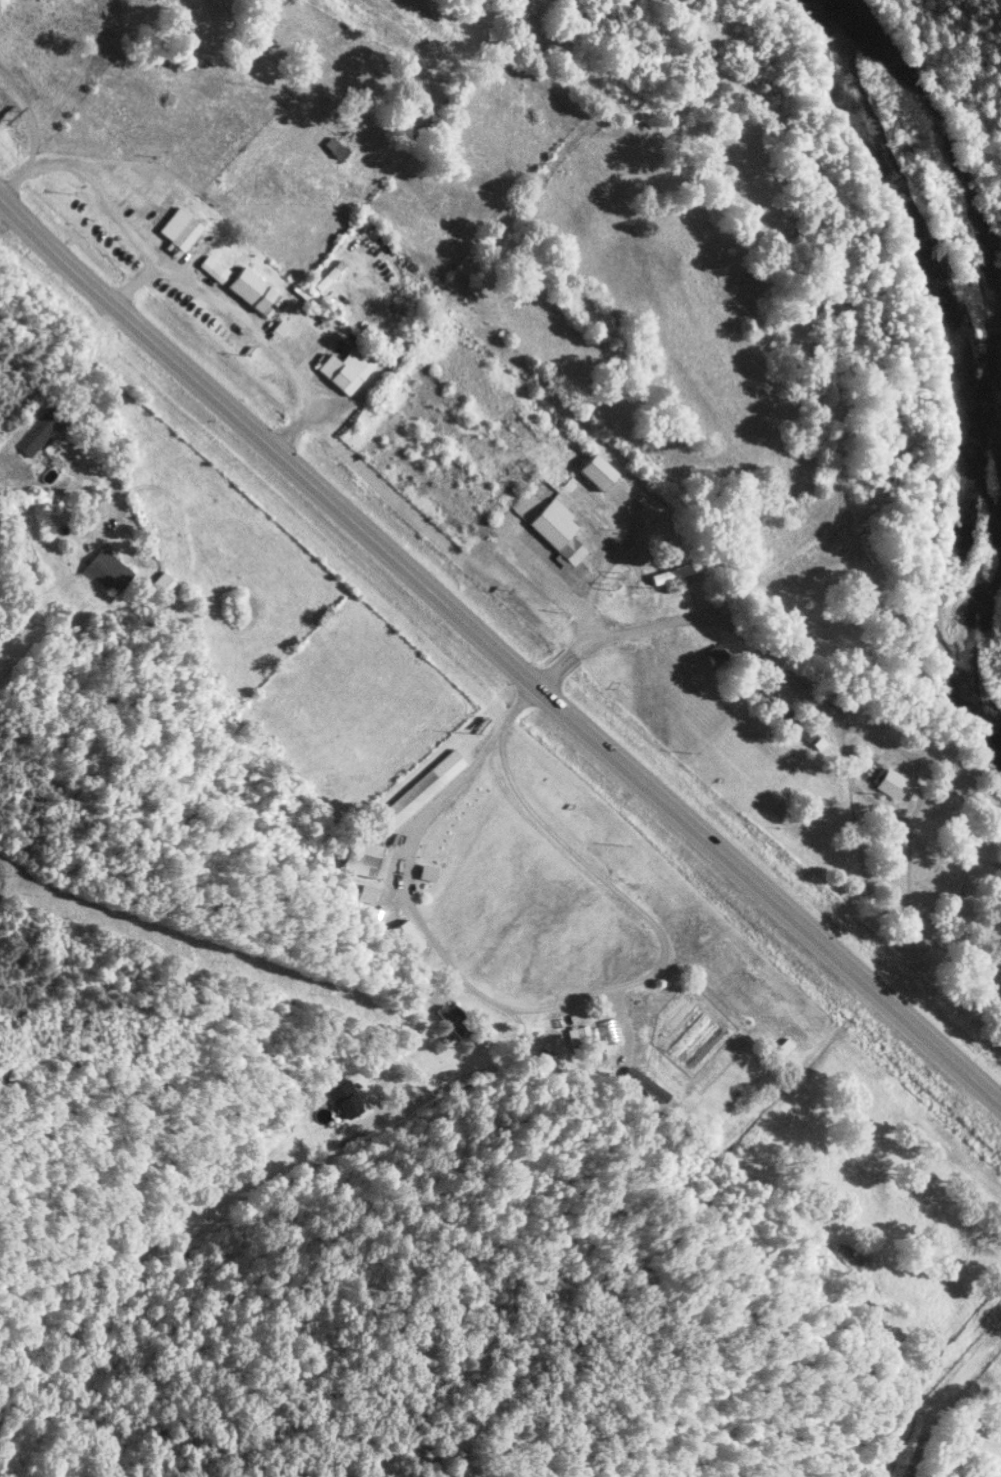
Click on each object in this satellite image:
building: (333, 146)
building: (178, 230)
building: (328, 276)
building: (249, 289)
building: (277, 328)
building: (347, 366)
river: (971, 367)
building: (35, 434)
building: (597, 470)
building: (559, 531)
building: (108, 571)
building: (675, 572)
building: (163, 582)
road: (498, 652)
building: (715, 653)
building: (749, 683)
building: (762, 693)
building: (772, 702)
building: (784, 713)
building: (794, 722)
building: (807, 732)
building: (817, 741)
building: (419, 789)
building: (368, 857)
building: (429, 870)
building: (368, 891)
building: (449, 1017)
building: (612, 1027)
building: (577, 1034)
building: (781, 1047)
building: (335, 1089)
road: (941, 1397)

